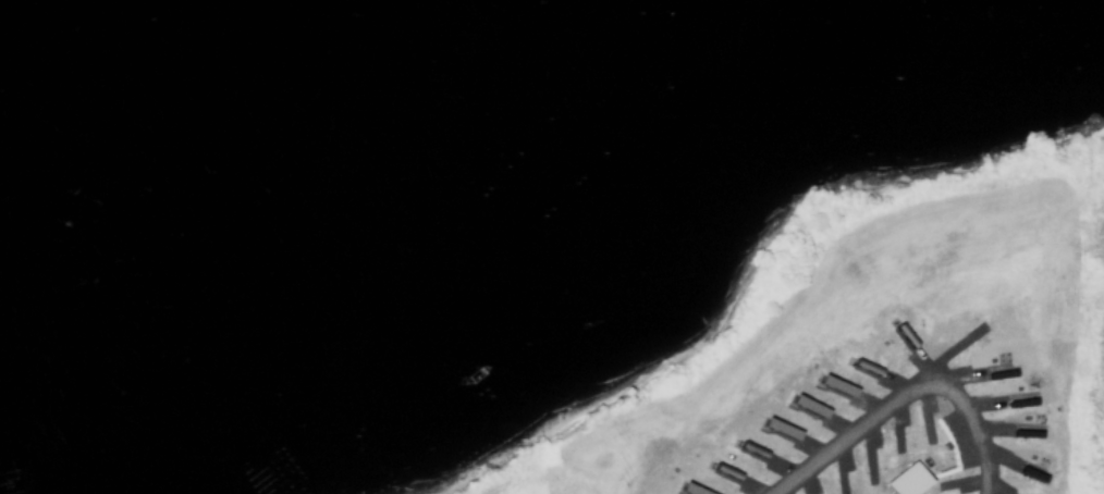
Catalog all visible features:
building: (901, 480)

